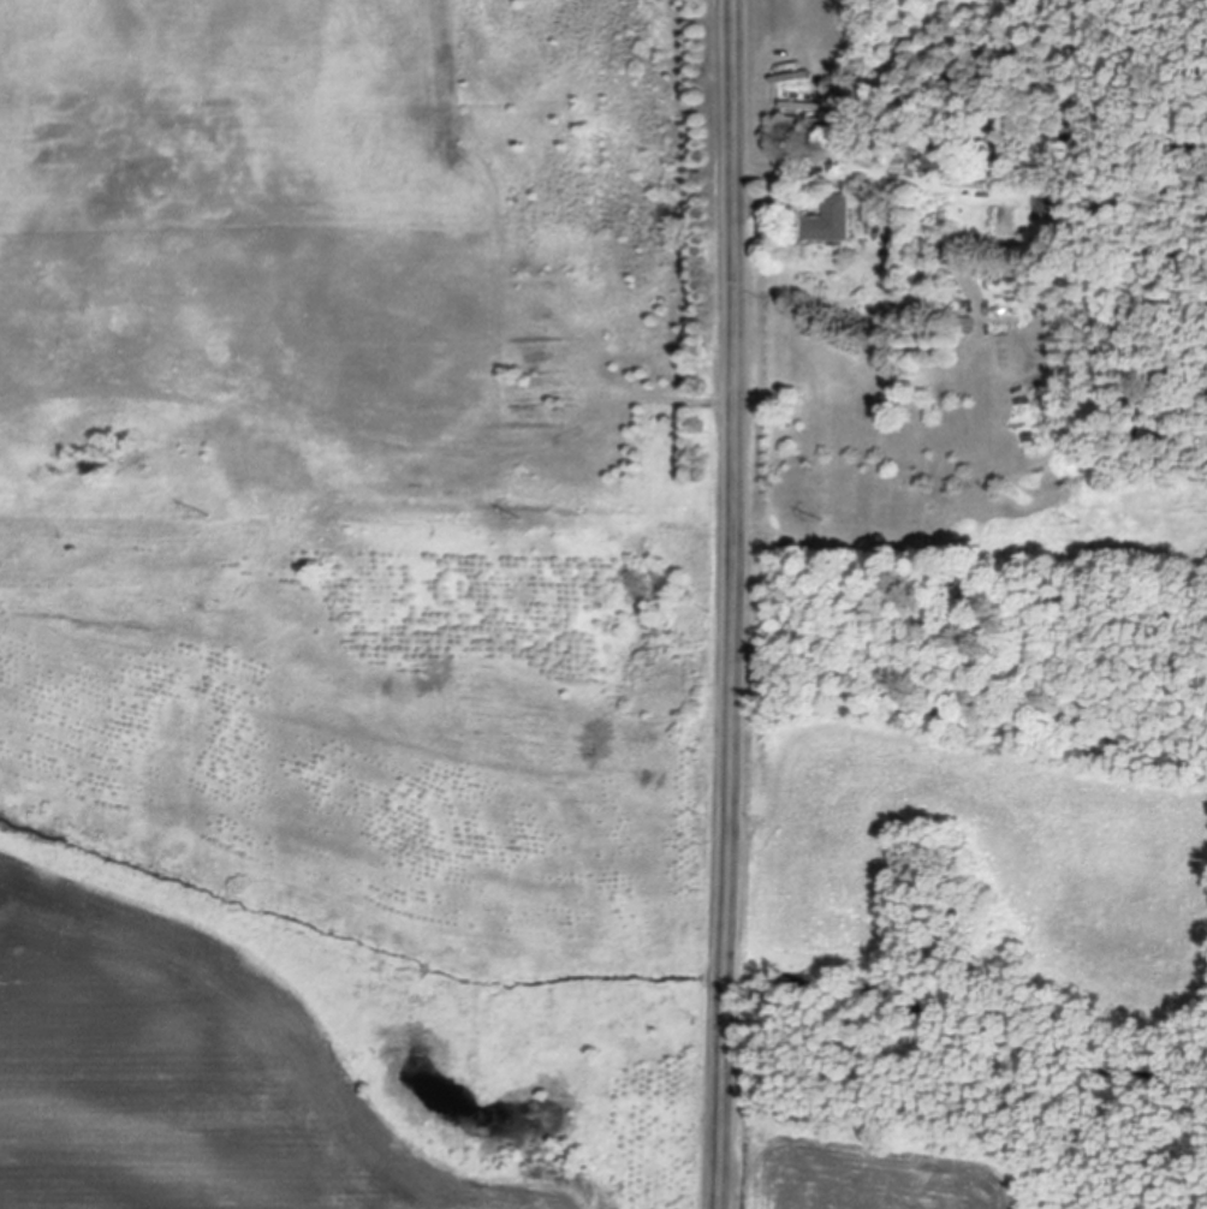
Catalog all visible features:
building: (943, 163)
road: (757, 202)
building: (833, 224)
road: (736, 604)

